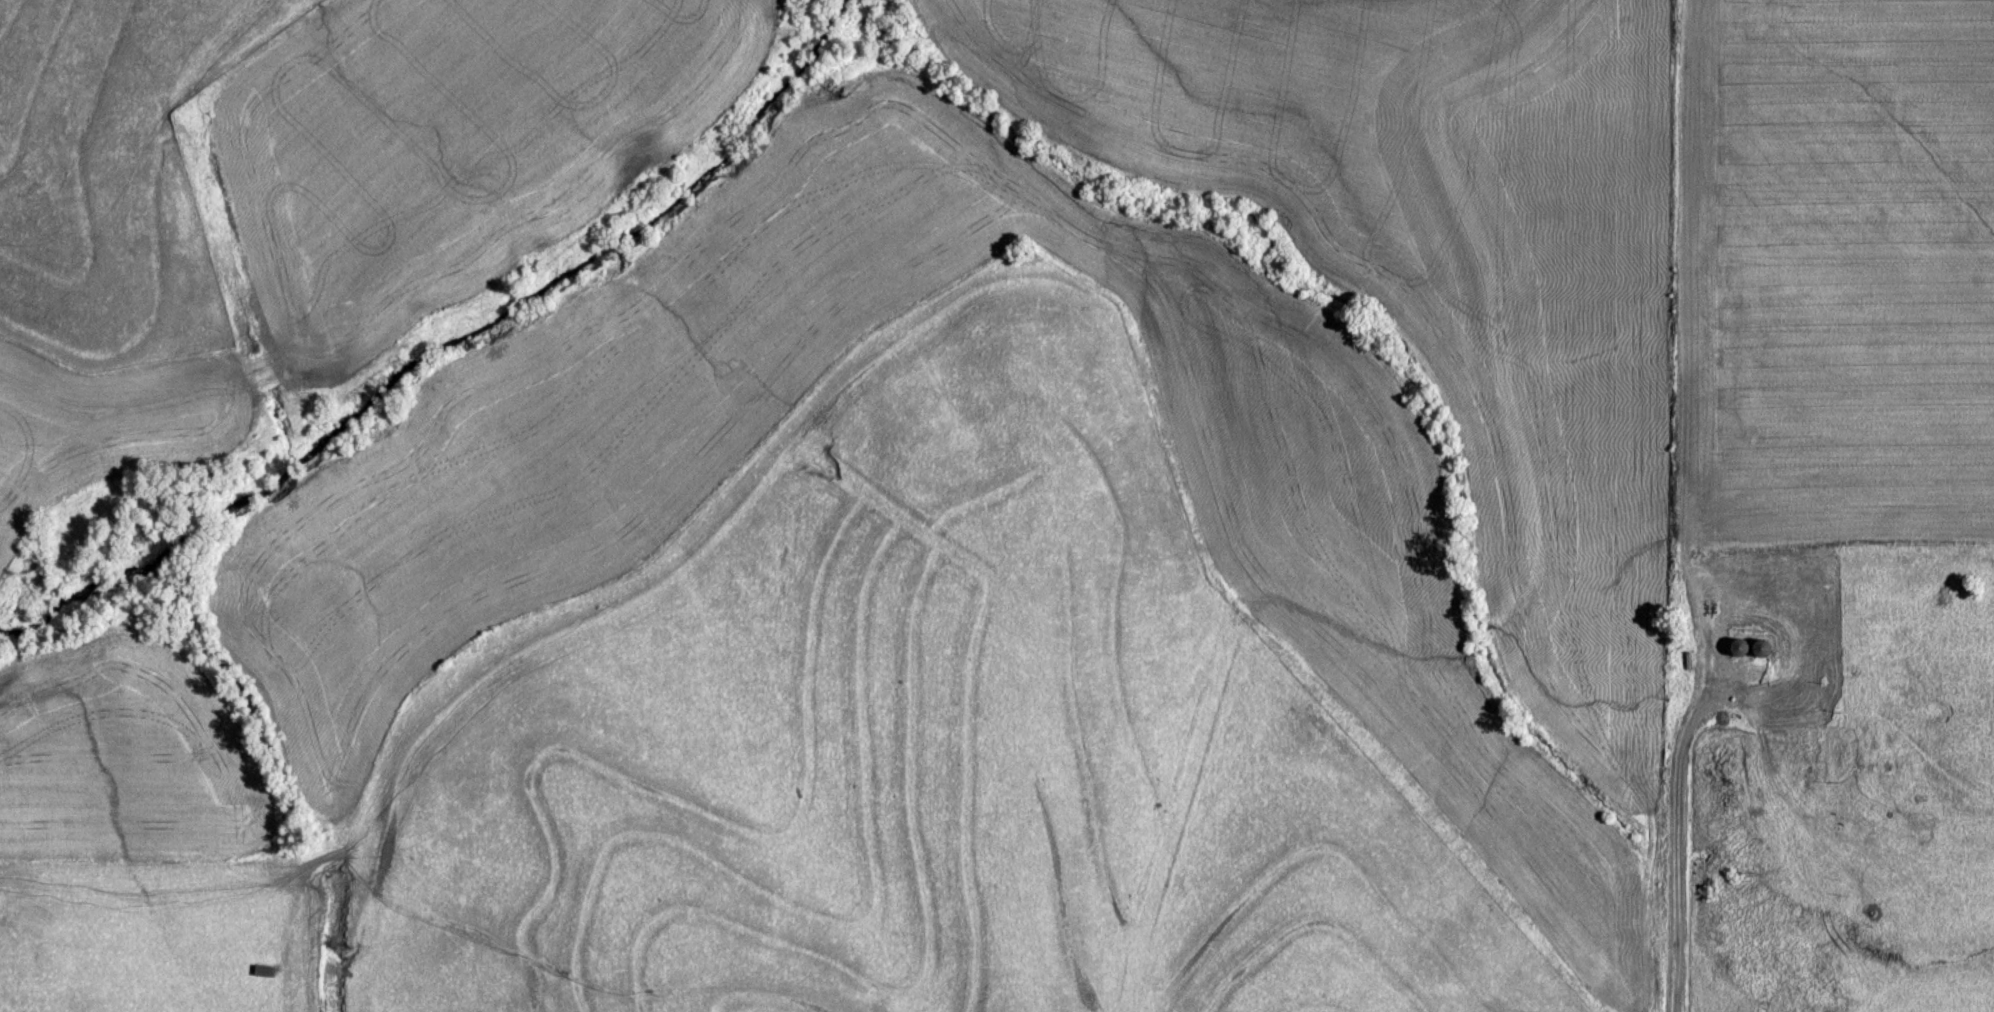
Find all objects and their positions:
building: (1739, 646)
building: (1763, 646)
building: (1801, 741)
building: (1867, 766)
building: (1918, 820)
road: (1680, 848)

